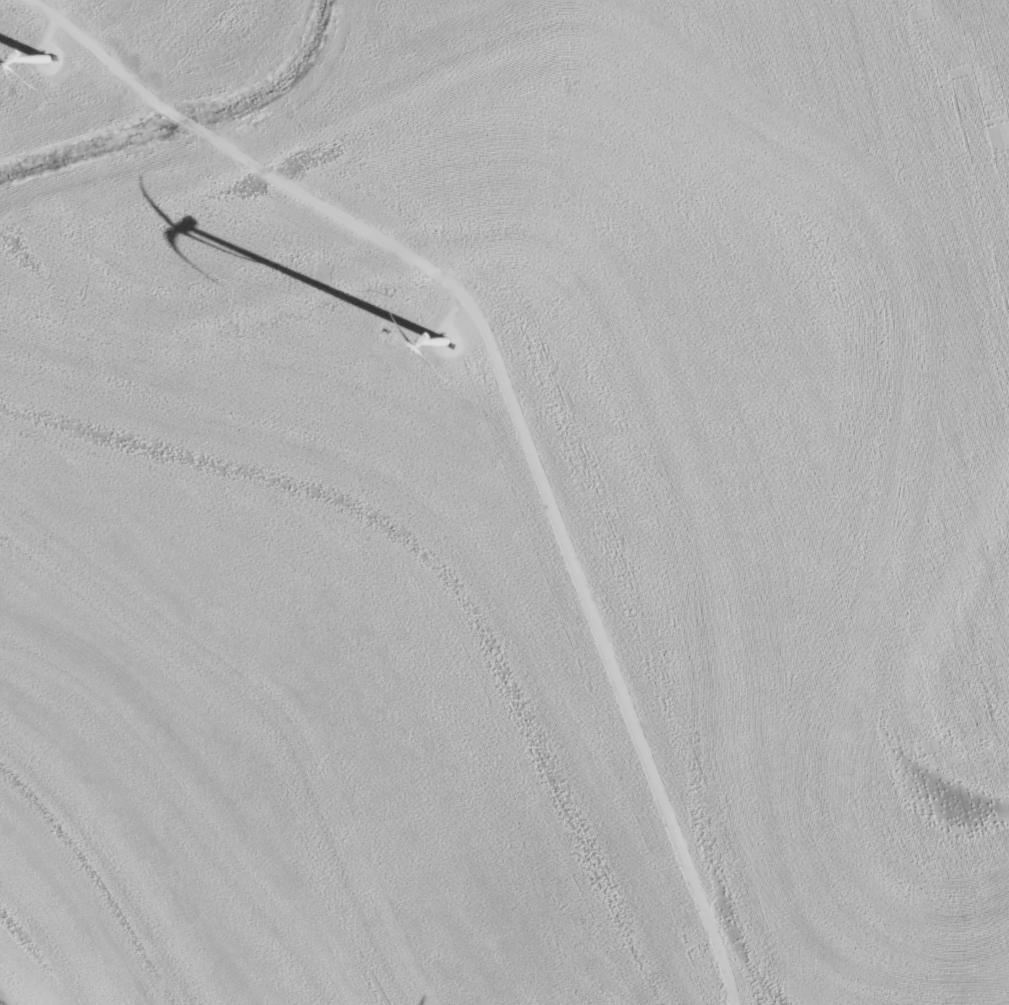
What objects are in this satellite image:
wind turbine: (36, 55)
wind turbine: (456, 354)
road: (512, 400)

